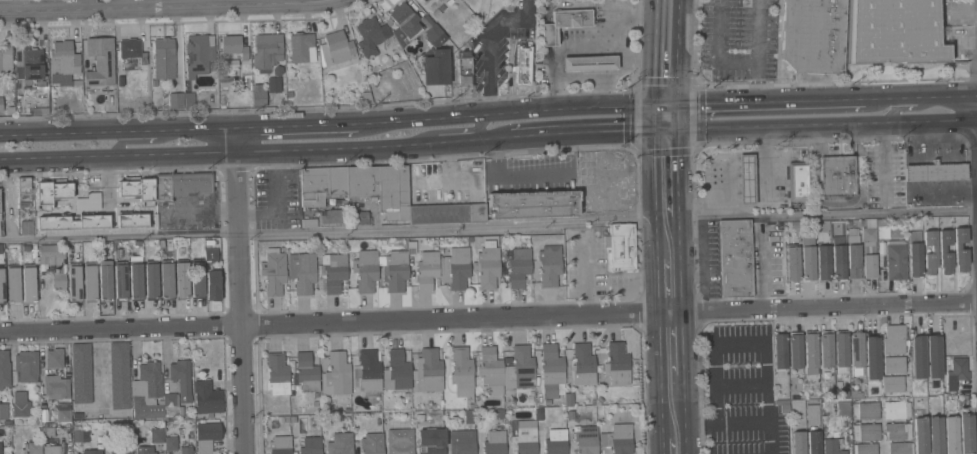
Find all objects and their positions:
building: (431, 3)
road: (151, 6)
building: (404, 23)
building: (563, 23)
building: (895, 31)
building: (432, 33)
building: (371, 35)
building: (813, 35)
road: (487, 43)
building: (233, 46)
building: (302, 48)
building: (336, 48)
building: (133, 50)
road: (715, 50)
road: (758, 50)
building: (266, 51)
building: (198, 52)
road: (654, 52)
road: (676, 52)
building: (6, 57)
building: (63, 58)
building: (163, 58)
building: (29, 60)
building: (100, 61)
building: (589, 62)
gas station: (589, 62)
building: (522, 64)
building: (422, 66)
building: (434, 67)
building: (464, 68)
building: (272, 84)
building: (258, 95)
road: (954, 96)
road: (899, 98)
building: (175, 100)
road: (770, 101)
building: (1, 104)
traffic signals: (653, 104)
road: (663, 104)
traffic signals: (674, 104)
road: (908, 109)
building: (40, 111)
road: (505, 112)
road: (659, 116)
road: (670, 116)
road: (932, 120)
road: (295, 125)
road: (777, 125)
road: (478, 126)
traffic signals: (666, 129)
road: (116, 132)
road: (587, 133)
road: (119, 144)
road: (254, 150)
road: (890, 167)
building: (935, 171)
road: (667, 172)
building: (746, 174)
building: (837, 175)
road: (120, 178)
gas station: (746, 179)
building: (798, 181)
building: (180, 184)
building: (321, 184)
building: (136, 188)
building: (381, 188)
road: (280, 190)
building: (50, 191)
building: (25, 194)
building: (8, 201)
building: (88, 201)
building: (533, 203)
road: (755, 206)
road: (258, 213)
building: (446, 213)
road: (822, 213)
building: (334, 217)
building: (361, 217)
building: (131, 219)
building: (73, 221)
building: (26, 227)
building: (1, 228)
road: (334, 229)
building: (881, 229)
building: (867, 230)
building: (896, 231)
road: (668, 237)
building: (621, 246)
building: (933, 249)
building: (945, 251)
building: (915, 253)
building: (50, 255)
building: (210, 255)
building: (822, 255)
building: (960, 256)
building: (808, 257)
building: (734, 258)
building: (895, 260)
building: (853, 261)
building: (838, 262)
building: (792, 263)
building: (549, 265)
building: (487, 266)
building: (869, 266)
building: (455, 267)
building: (518, 267)
building: (426, 269)
building: (365, 270)
building: (395, 270)
building: (301, 271)
building: (273, 273)
building: (334, 273)
building: (181, 278)
building: (197, 278)
building: (166, 279)
building: (58, 280)
building: (136, 280)
building: (151, 280)
building: (105, 281)
building: (120, 281)
building: (74, 282)
building: (89, 282)
building: (12, 284)
building: (28, 284)
road: (669, 284)
building: (212, 285)
building: (1, 286)
road: (239, 290)
road: (488, 317)
building: (958, 323)
building: (894, 339)
road: (756, 342)
road: (672, 343)
building: (825, 349)
building: (841, 349)
building: (856, 349)
building: (795, 350)
building: (779, 351)
building: (810, 353)
building: (917, 356)
building: (932, 356)
building: (871, 357)
building: (57, 358)
road: (97, 363)
building: (617, 364)
building: (894, 364)
building: (582, 365)
building: (26, 366)
building: (461, 368)
building: (506, 368)
building: (4, 369)
building: (429, 370)
building: (551, 370)
building: (368, 371)
building: (396, 371)
building: (81, 372)
building: (306, 372)
building: (955, 373)
building: (277, 374)
building: (336, 374)
building: (119, 375)
building: (181, 378)
road: (740, 382)
building: (893, 384)
building: (56, 386)
building: (147, 391)
building: (207, 398)
building: (568, 398)
road: (675, 399)
building: (21, 404)
building: (170, 404)
building: (842, 407)
building: (896, 408)
building: (865, 409)
building: (3, 411)
building: (63, 414)
building: (811, 414)
building: (468, 416)
road: (742, 420)
road: (695, 422)
road: (676, 431)
building: (866, 431)
building: (897, 431)
building: (966, 433)
building: (208, 435)
building: (920, 435)
building: (936, 435)
building: (950, 435)
building: (79, 436)
building: (524, 437)
building: (617, 439)
building: (586, 440)
building: (150, 441)
building: (400, 441)
building: (461, 441)
building: (432, 442)
building: (494, 442)
building: (556, 442)
building: (798, 442)
building: (813, 442)
building: (170, 443)
building: (340, 443)
building: (372, 443)
building: (831, 444)
building: (279, 445)
building: (310, 445)
road: (677, 446)
building: (34, 447)
building: (864, 448)
building: (900, 448)
building: (51, 449)
building: (0, 450)
building: (121, 450)
building: (186, 450)
building: (92, 451)

